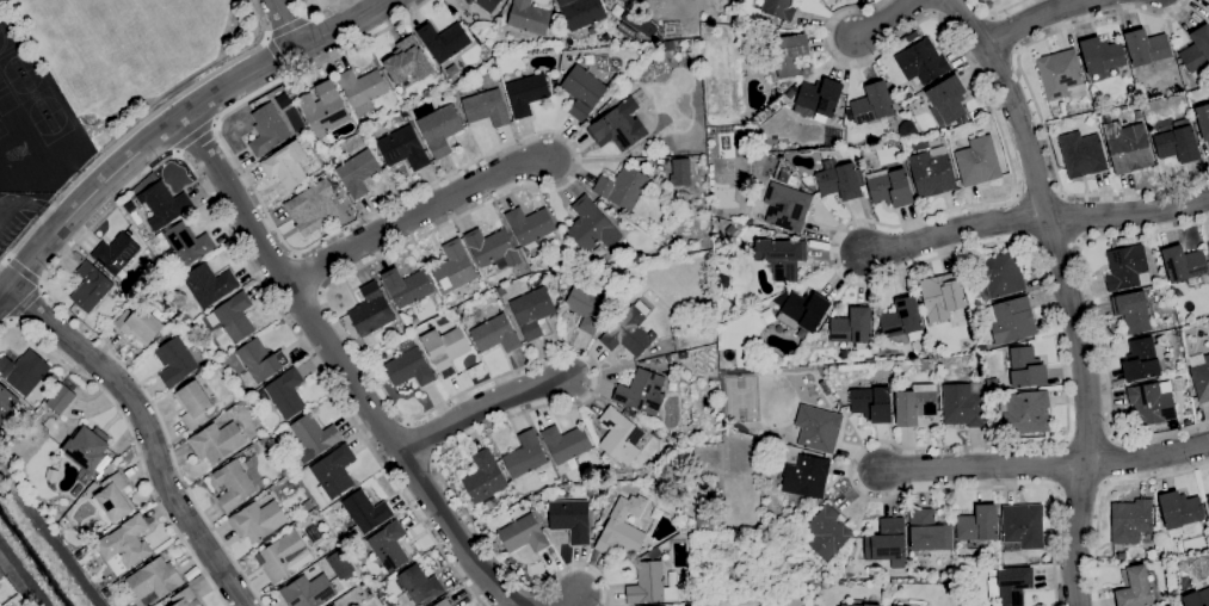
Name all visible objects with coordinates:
building: (487, 4)
building: (779, 8)
road: (1000, 11)
road: (317, 12)
building: (581, 12)
building: (529, 17)
road: (1035, 17)
building: (1208, 17)
road: (887, 19)
road: (285, 23)
road: (288, 24)
road: (317, 37)
building: (444, 41)
building: (1147, 47)
building: (1197, 50)
building: (790, 54)
building: (1102, 55)
building: (408, 61)
building: (921, 61)
park: (14, 62)
building: (1061, 75)
building: (782, 85)
building: (362, 88)
building: (582, 91)
building: (790, 92)
park: (32, 93)
building: (526, 93)
building: (820, 97)
park: (5, 98)
building: (946, 99)
building: (871, 104)
road: (1036, 105)
building: (323, 107)
building: (486, 107)
building: (1067, 109)
building: (1139, 115)
road: (175, 118)
building: (1203, 119)
park: (51, 125)
road: (137, 126)
building: (618, 126)
building: (267, 129)
building: (440, 129)
building: (907, 129)
park: (1, 130)
road: (196, 137)
building: (1178, 142)
building: (1128, 147)
building: (403, 148)
building: (1081, 154)
building: (977, 160)
road: (161, 162)
building: (286, 165)
building: (680, 171)
building: (358, 172)
building: (931, 173)
building: (783, 177)
building: (839, 179)
building: (890, 186)
road: (101, 187)
building: (622, 187)
building: (165, 204)
road: (33, 205)
building: (311, 206)
building: (787, 206)
road: (1130, 211)
road: (418, 212)
road: (446, 222)
building: (530, 224)
building: (591, 225)
building: (730, 229)
road: (957, 229)
road: (999, 242)
building: (1208, 245)
building: (185, 246)
building: (492, 247)
building: (116, 252)
building: (781, 258)
building: (1184, 262)
building: (1125, 266)
building: (454, 267)
building: (533, 267)
road: (23, 271)
building: (1000, 274)
building: (722, 282)
building: (209, 284)
road: (41, 285)
building: (407, 286)
building: (92, 287)
road: (1066, 291)
building: (942, 295)
road: (23, 302)
building: (587, 308)
building: (532, 310)
building: (1131, 310)
building: (803, 311)
building: (371, 314)
building: (769, 314)
building: (233, 316)
building: (903, 320)
building: (1011, 320)
road: (1096, 322)
building: (141, 323)
building: (852, 327)
building: (677, 332)
building: (1178, 332)
building: (495, 333)
building: (628, 333)
building: (445, 348)
building: (684, 353)
building: (1141, 359)
building: (175, 360)
building: (259, 361)
road: (346, 365)
building: (1024, 366)
building: (409, 367)
building: (24, 371)
building: (1199, 375)
building: (992, 384)
building: (1178, 384)
building: (673, 389)
building: (642, 391)
building: (284, 394)
building: (61, 398)
building: (1152, 402)
building: (193, 403)
building: (872, 403)
building: (915, 403)
building: (963, 403)
building: (8, 406)
road: (483, 406)
building: (1026, 412)
building: (818, 428)
road: (143, 429)
building: (656, 433)
building: (314, 435)
building: (619, 435)
road: (135, 439)
building: (264, 440)
building: (217, 441)
building: (566, 443)
building: (88, 447)
building: (525, 455)
road: (1148, 456)
road: (982, 464)
building: (109, 469)
building: (334, 471)
building: (654, 474)
building: (807, 476)
building: (485, 477)
building: (234, 484)
building: (76, 490)
road: (1104, 493)
building: (1208, 497)
building: (113, 500)
building: (489, 505)
building: (1182, 512)
building: (365, 513)
building: (570, 519)
building: (258, 520)
building: (704, 520)
building: (717, 520)
building: (1130, 520)
building: (979, 525)
building: (1023, 525)
building: (929, 531)
building: (827, 532)
building: (619, 533)
building: (523, 534)
building: (125, 542)
building: (887, 542)
building: (389, 545)
building: (654, 552)
building: (284, 556)
road: (581, 564)
building: (334, 571)
building: (154, 579)
building: (419, 583)
building: (649, 585)
building: (1011, 585)
building: (1134, 587)
building: (308, 590)
building: (184, 598)
building: (1196, 598)
road: (572, 600)
building: (443, 602)
building: (704, 604)
building: (334, 605)
building: (687, 605)
building: (859, 605)

